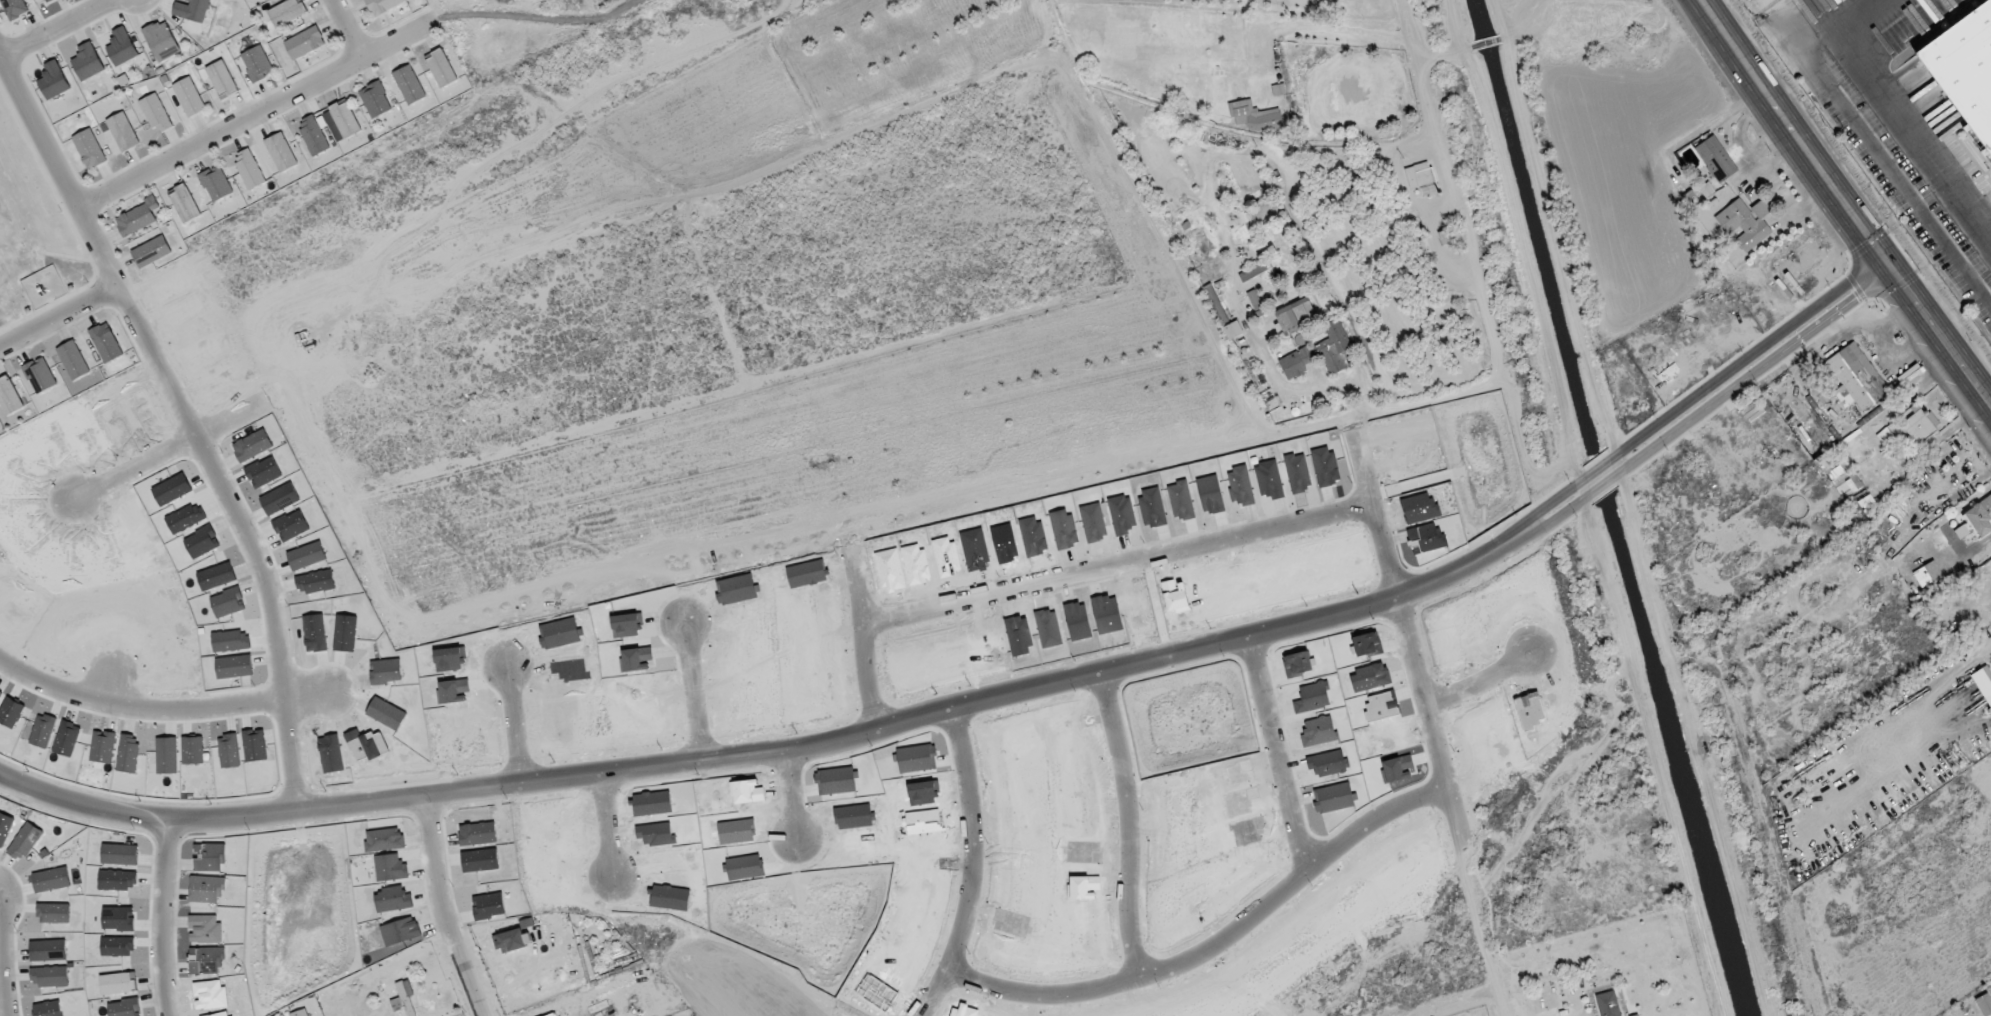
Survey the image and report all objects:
building: (47, 0)
building: (383, 5)
building: (14, 8)
building: (192, 9)
building: (287, 12)
road: (1524, 22)
road: (345, 28)
road: (58, 30)
building: (161, 41)
building: (304, 43)
road: (1485, 43)
building: (121, 47)
road: (1444, 53)
building: (87, 62)
building: (257, 63)
building: (441, 69)
building: (1965, 69)
building: (221, 79)
building: (53, 81)
building: (409, 84)
building: (189, 97)
building: (375, 100)
building: (155, 113)
road: (253, 114)
building: (1255, 116)
building: (345, 119)
building: (122, 132)
building: (313, 135)
road: (1922, 147)
building: (89, 149)
building: (280, 152)
building: (1716, 159)
building: (249, 169)
building: (1421, 178)
building: (216, 183)
building: (184, 204)
road: (1842, 205)
building: (138, 217)
building: (1746, 223)
building: (1446, 237)
building: (151, 251)
road: (1471, 252)
road: (99, 255)
traffic signals: (1879, 255)
building: (1254, 271)
traffic signals: (1892, 272)
building: (1216, 304)
building: (1295, 315)
road: (58, 317)
building: (1233, 330)
building: (105, 342)
building: (1320, 352)
road: (1751, 352)
building: (73, 360)
road: (1760, 368)
building: (39, 375)
building: (1856, 378)
building: (9, 397)
building: (1920, 425)
road: (174, 454)
road: (1599, 467)
road: (1603, 483)
road: (1549, 503)
road: (1556, 517)
building: (1980, 517)
building: (1962, 531)
road: (1114, 571)
building: (1927, 574)
road: (276, 618)
building: (1958, 637)
road: (1401, 641)
road: (861, 643)
road: (1981, 652)
building: (1983, 683)
road: (1474, 690)
road: (691, 696)
road: (167, 710)
road: (510, 731)
road: (780, 756)
road: (1275, 760)
road: (792, 804)
road: (1130, 831)
road: (607, 832)
road: (973, 866)
road: (443, 908)
road: (161, 916)
road: (1475, 932)
building: (509, 940)
road: (1215, 954)
road: (5, 959)
building: (1608, 1004)
building: (1984, 1004)
building: (554, 1014)

